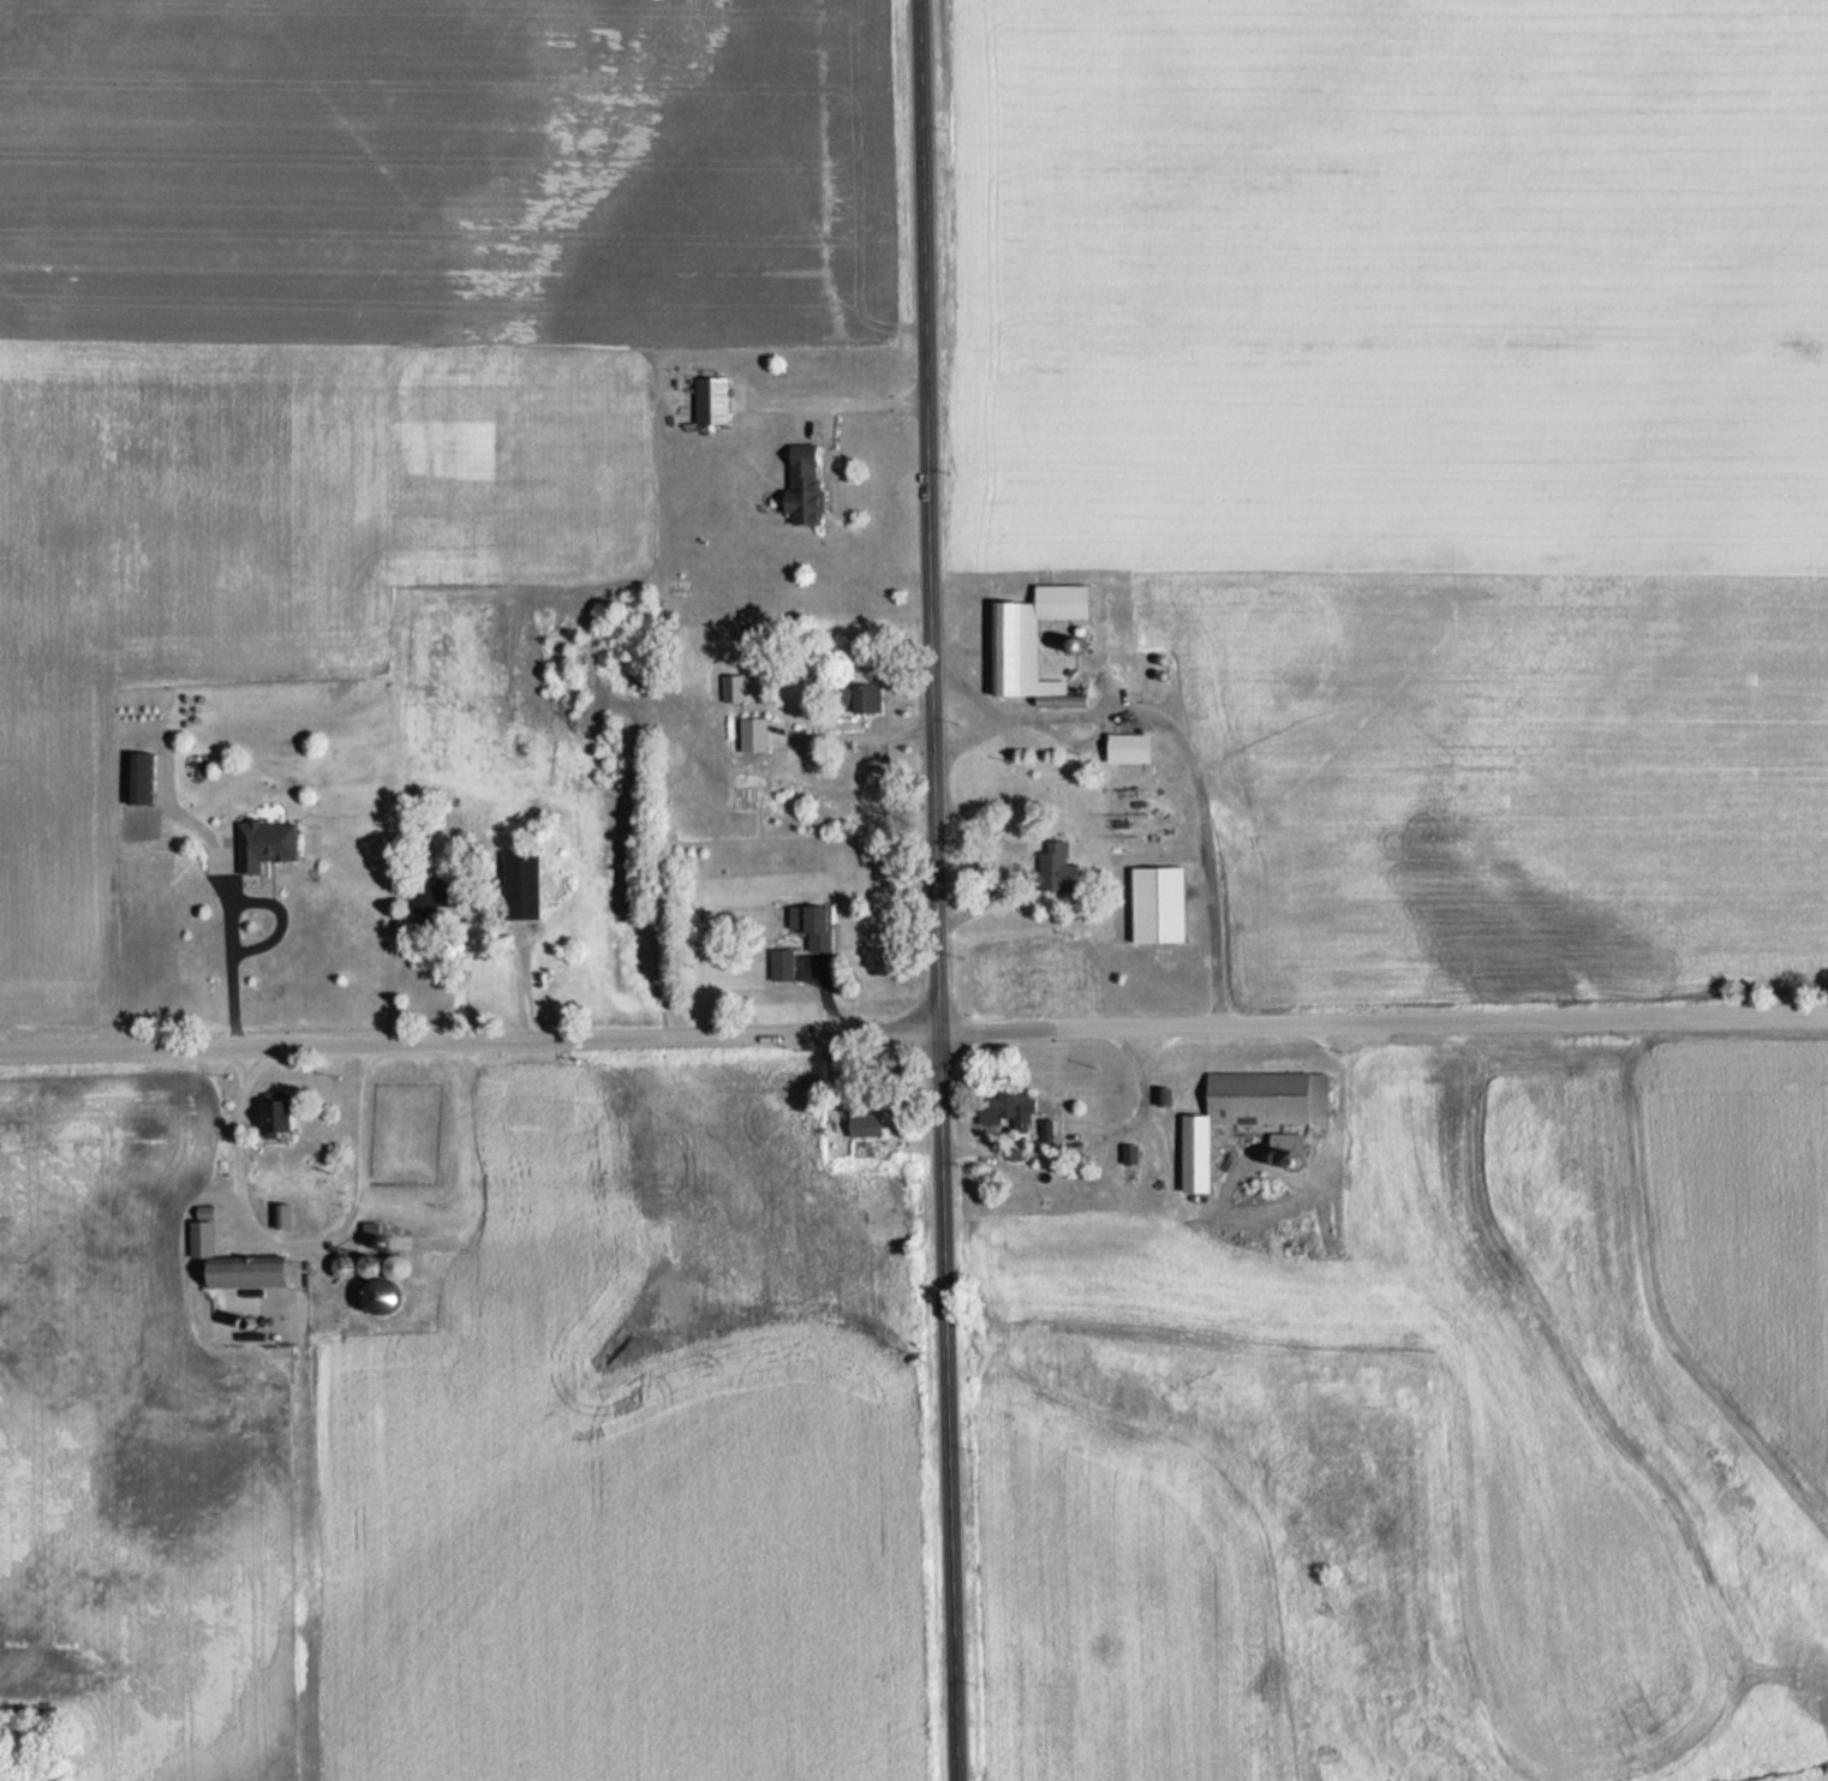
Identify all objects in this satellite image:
road: (849, 395)
building: (712, 399)
building: (805, 485)
building: (1033, 641)
building: (734, 687)
road: (966, 688)
building: (862, 697)
building: (754, 733)
building: (1130, 746)
road: (1183, 748)
building: (139, 777)
building: (265, 842)
building: (1056, 867)
building: (522, 884)
road: (937, 890)
building: (435, 896)
building: (1159, 903)
road: (232, 910)
building: (814, 924)
building: (783, 963)
road: (913, 1030)
road: (1140, 1062)
road: (1164, 1077)
building: (1010, 1108)
building: (1249, 1111)
building: (277, 1112)
building: (867, 1122)
building: (1047, 1128)
building: (1288, 1142)
building: (1131, 1153)
building: (285, 1215)
building: (203, 1238)
road: (300, 1242)
building: (370, 1267)
building: (249, 1271)
building: (387, 1285)

